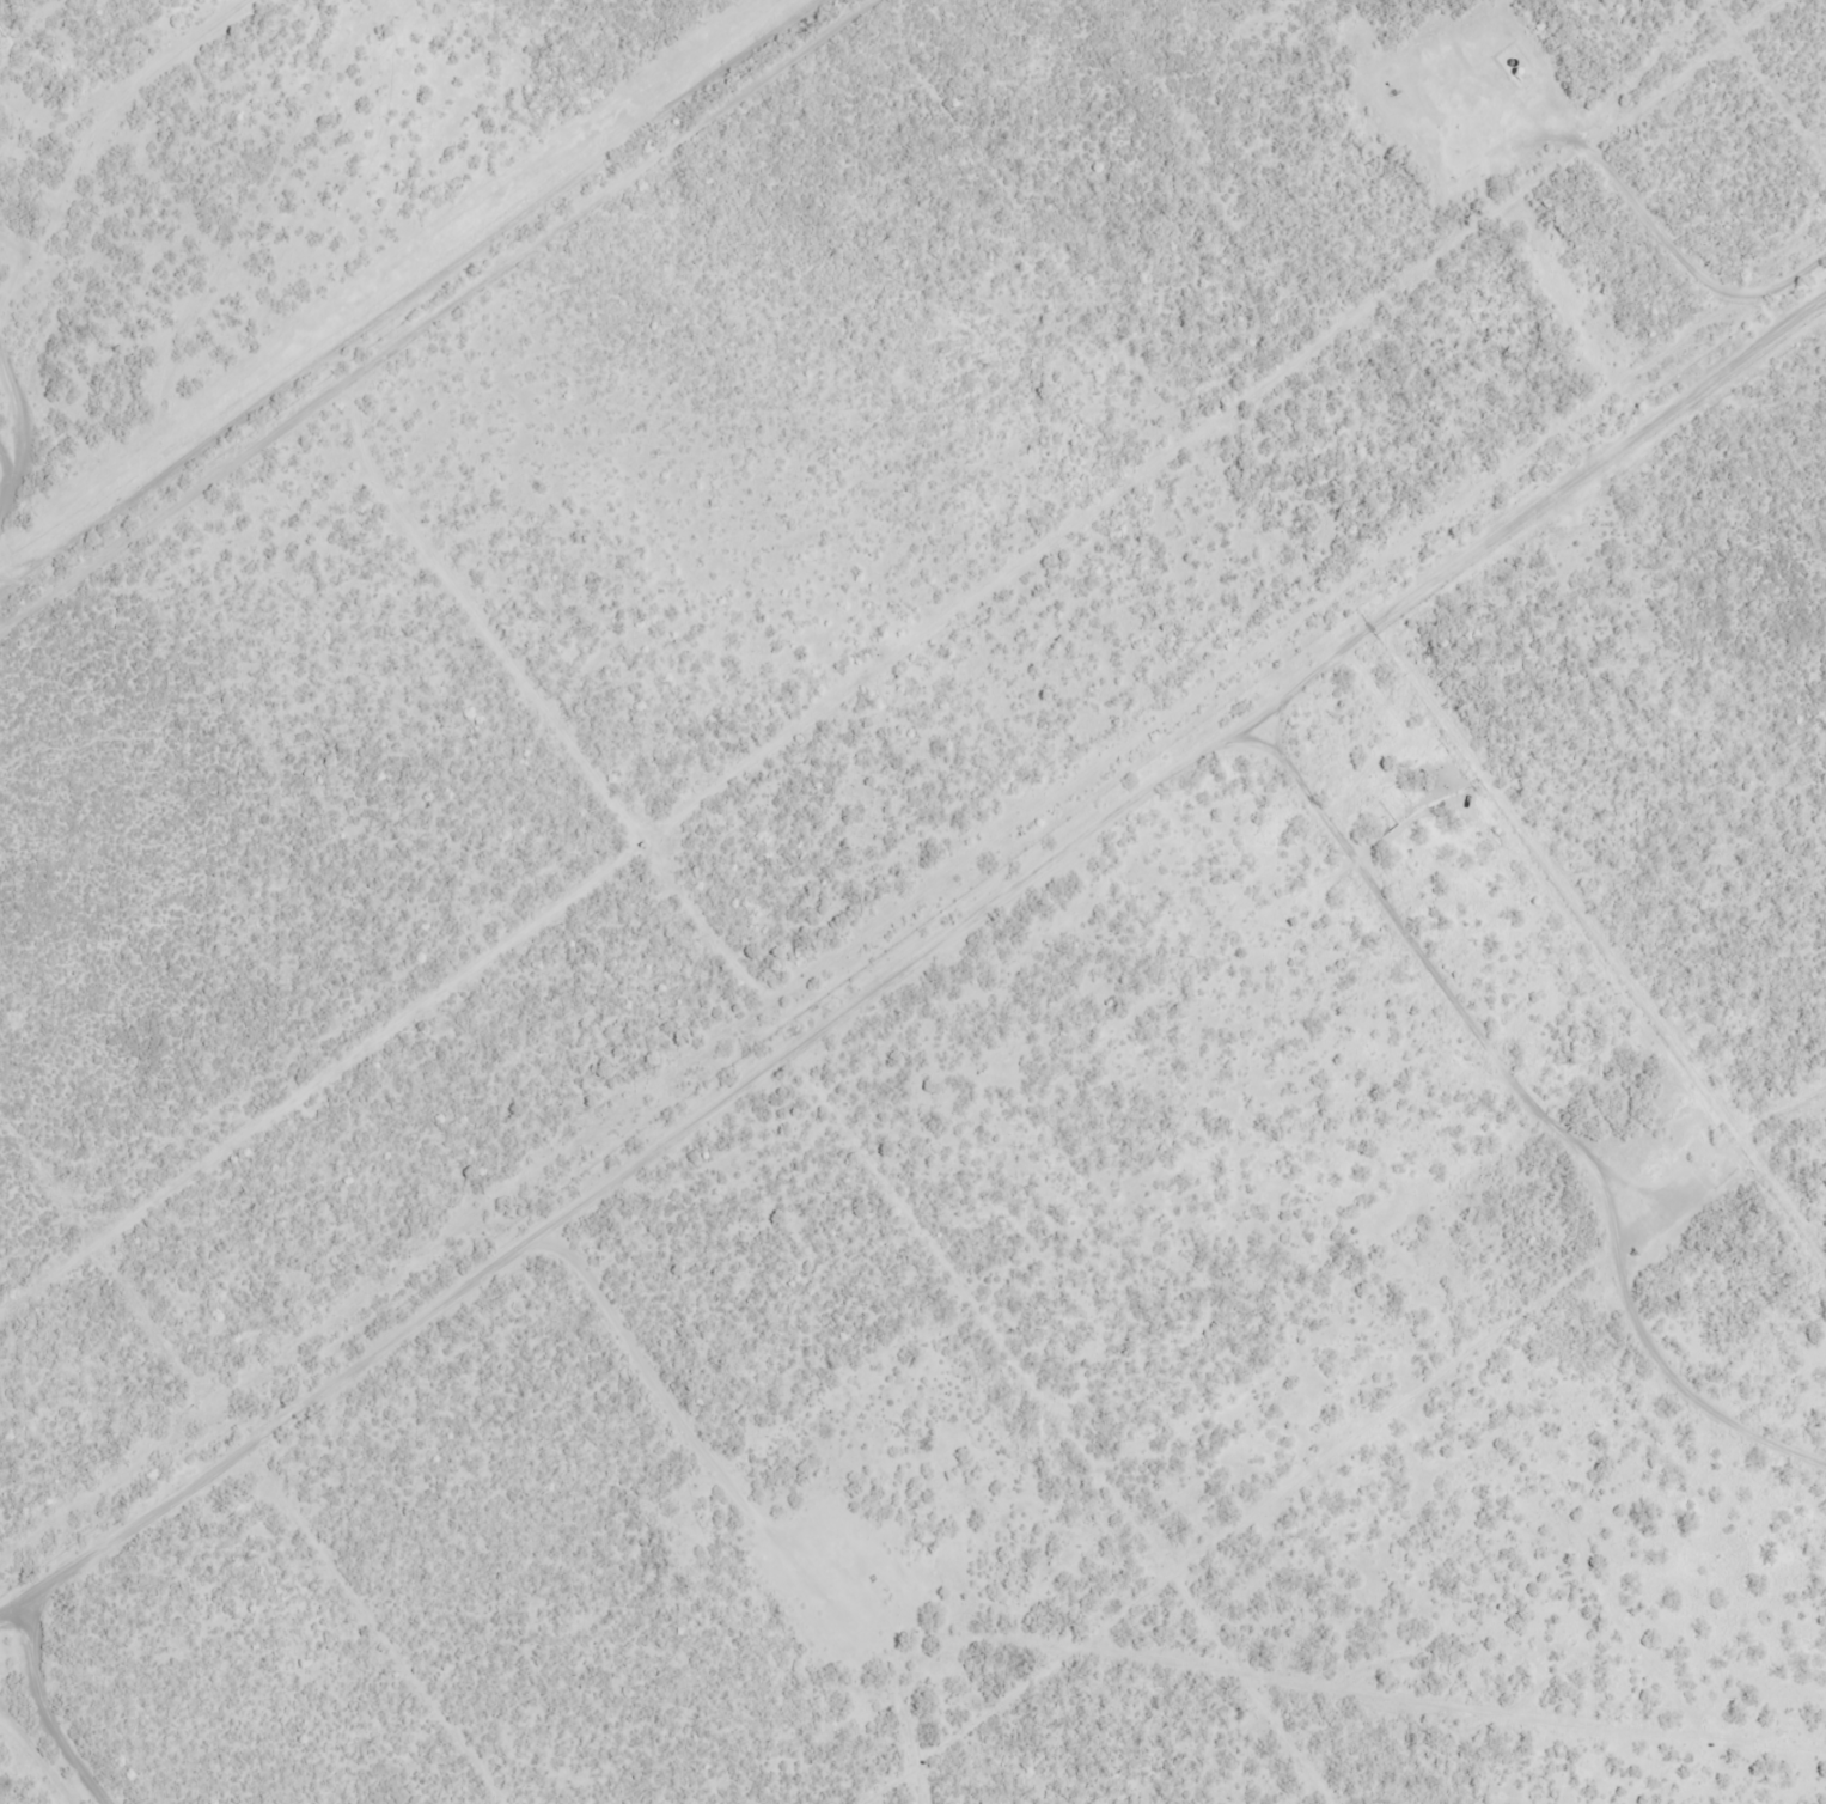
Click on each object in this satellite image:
road: (525, 233)
road: (218, 329)
road: (77, 408)
road: (829, 1000)
road: (1, 1635)

